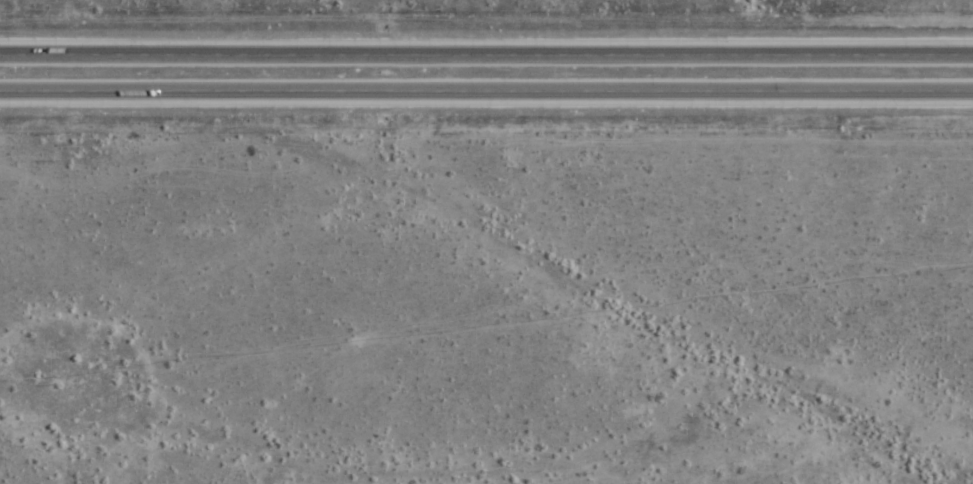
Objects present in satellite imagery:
road: (486, 56)
road: (486, 93)

